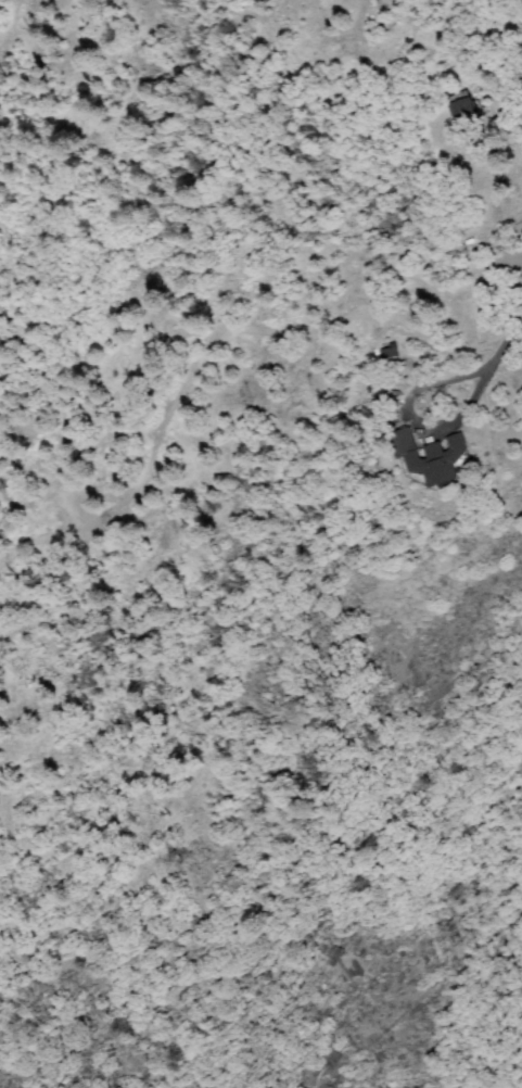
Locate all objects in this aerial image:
building: (467, 118)
building: (446, 455)

